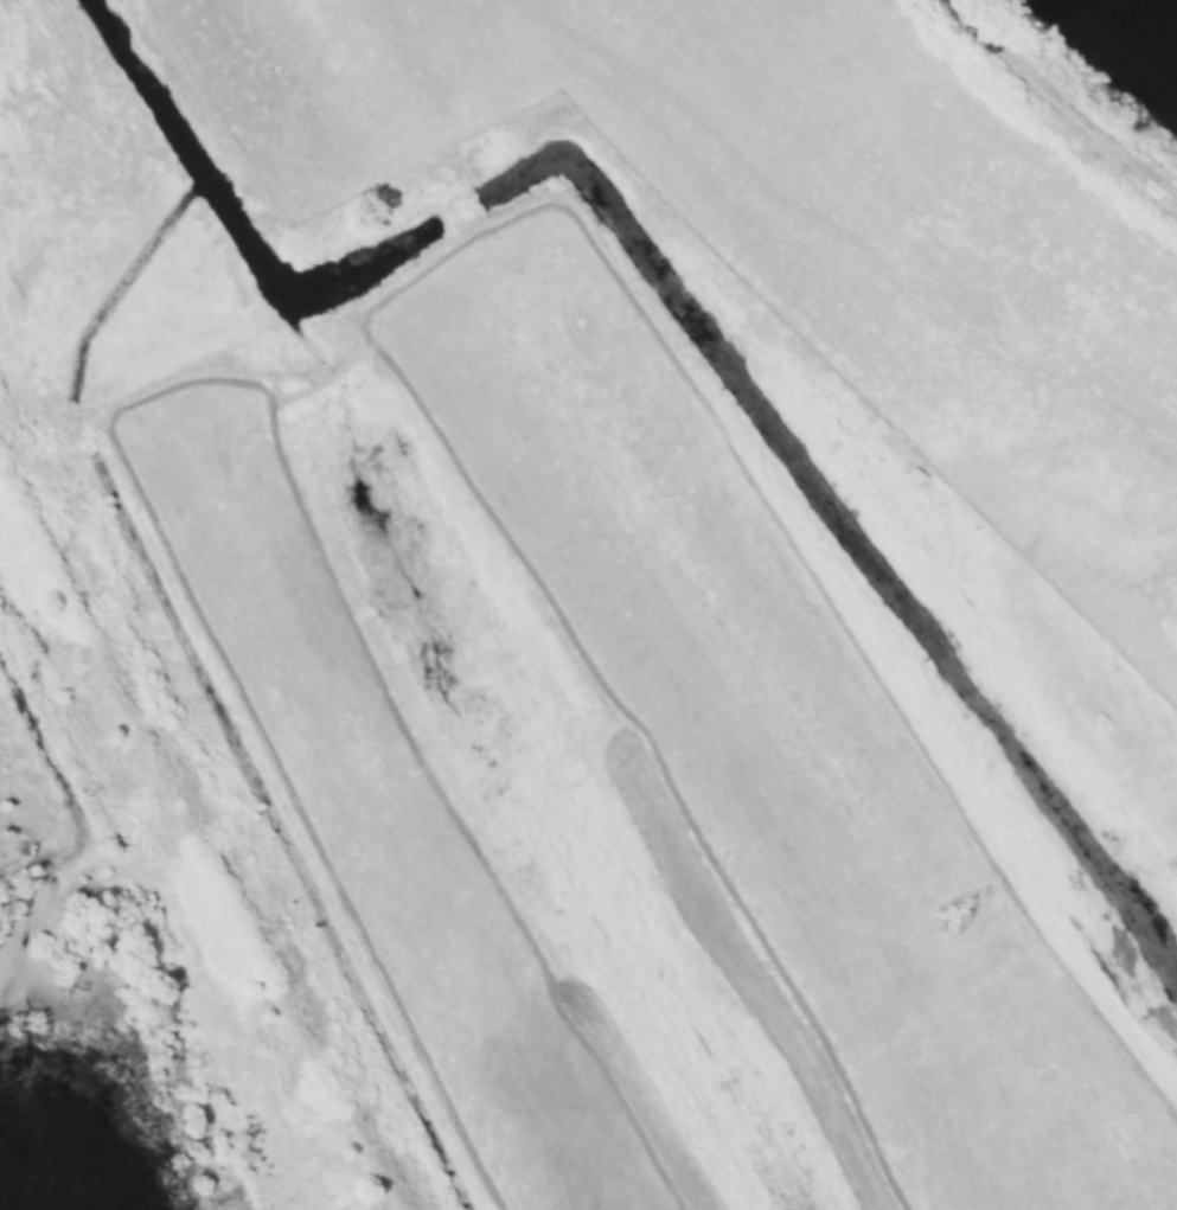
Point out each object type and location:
road: (1062, 95)

